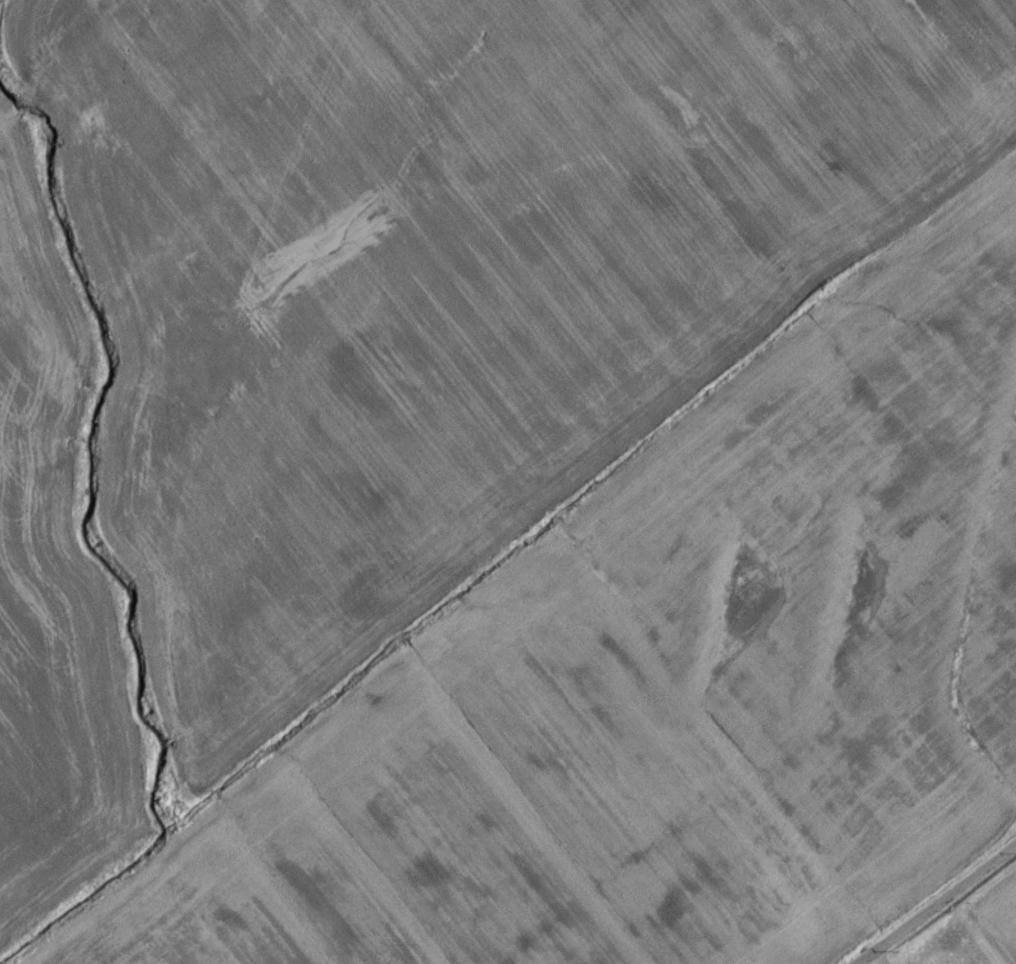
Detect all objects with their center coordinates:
road: (939, 905)

